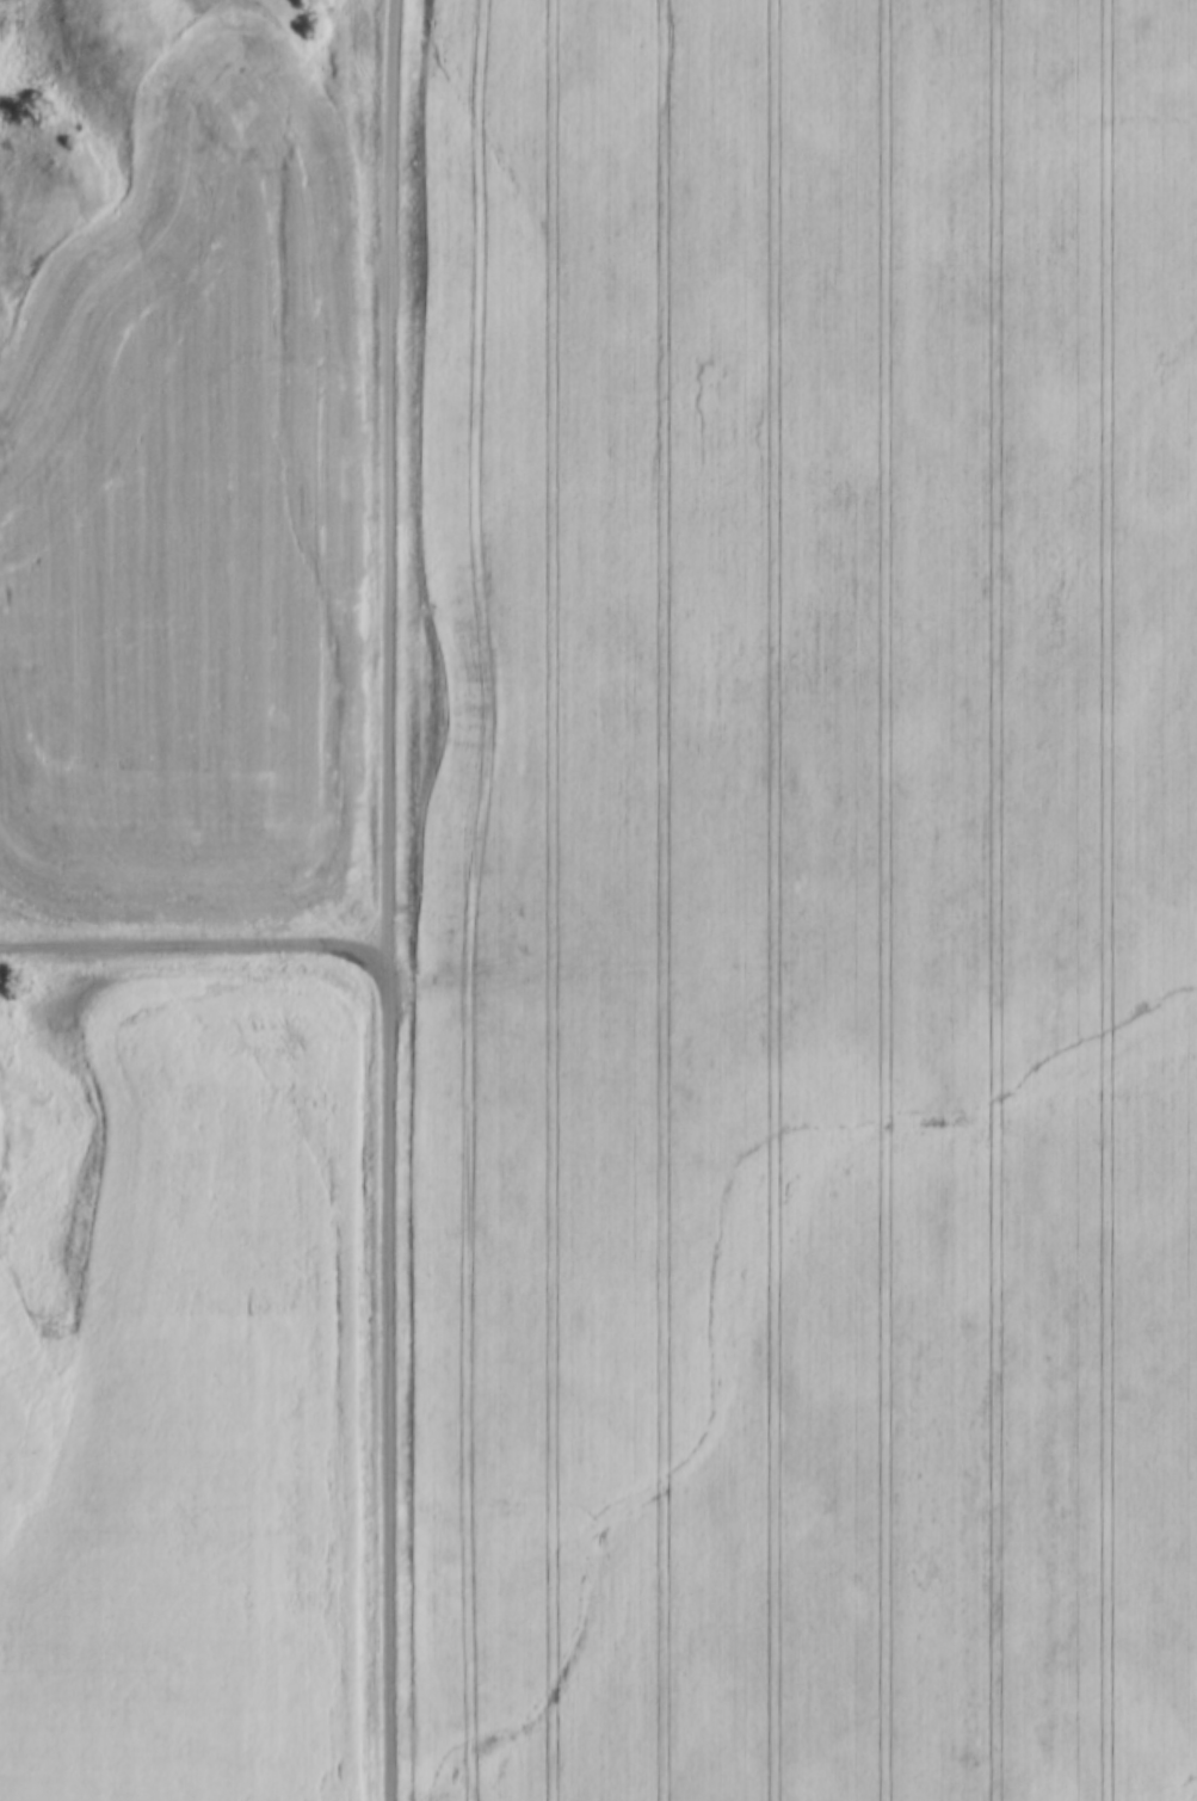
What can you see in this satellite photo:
road: (391, 487)
road: (195, 949)
road: (391, 1387)

